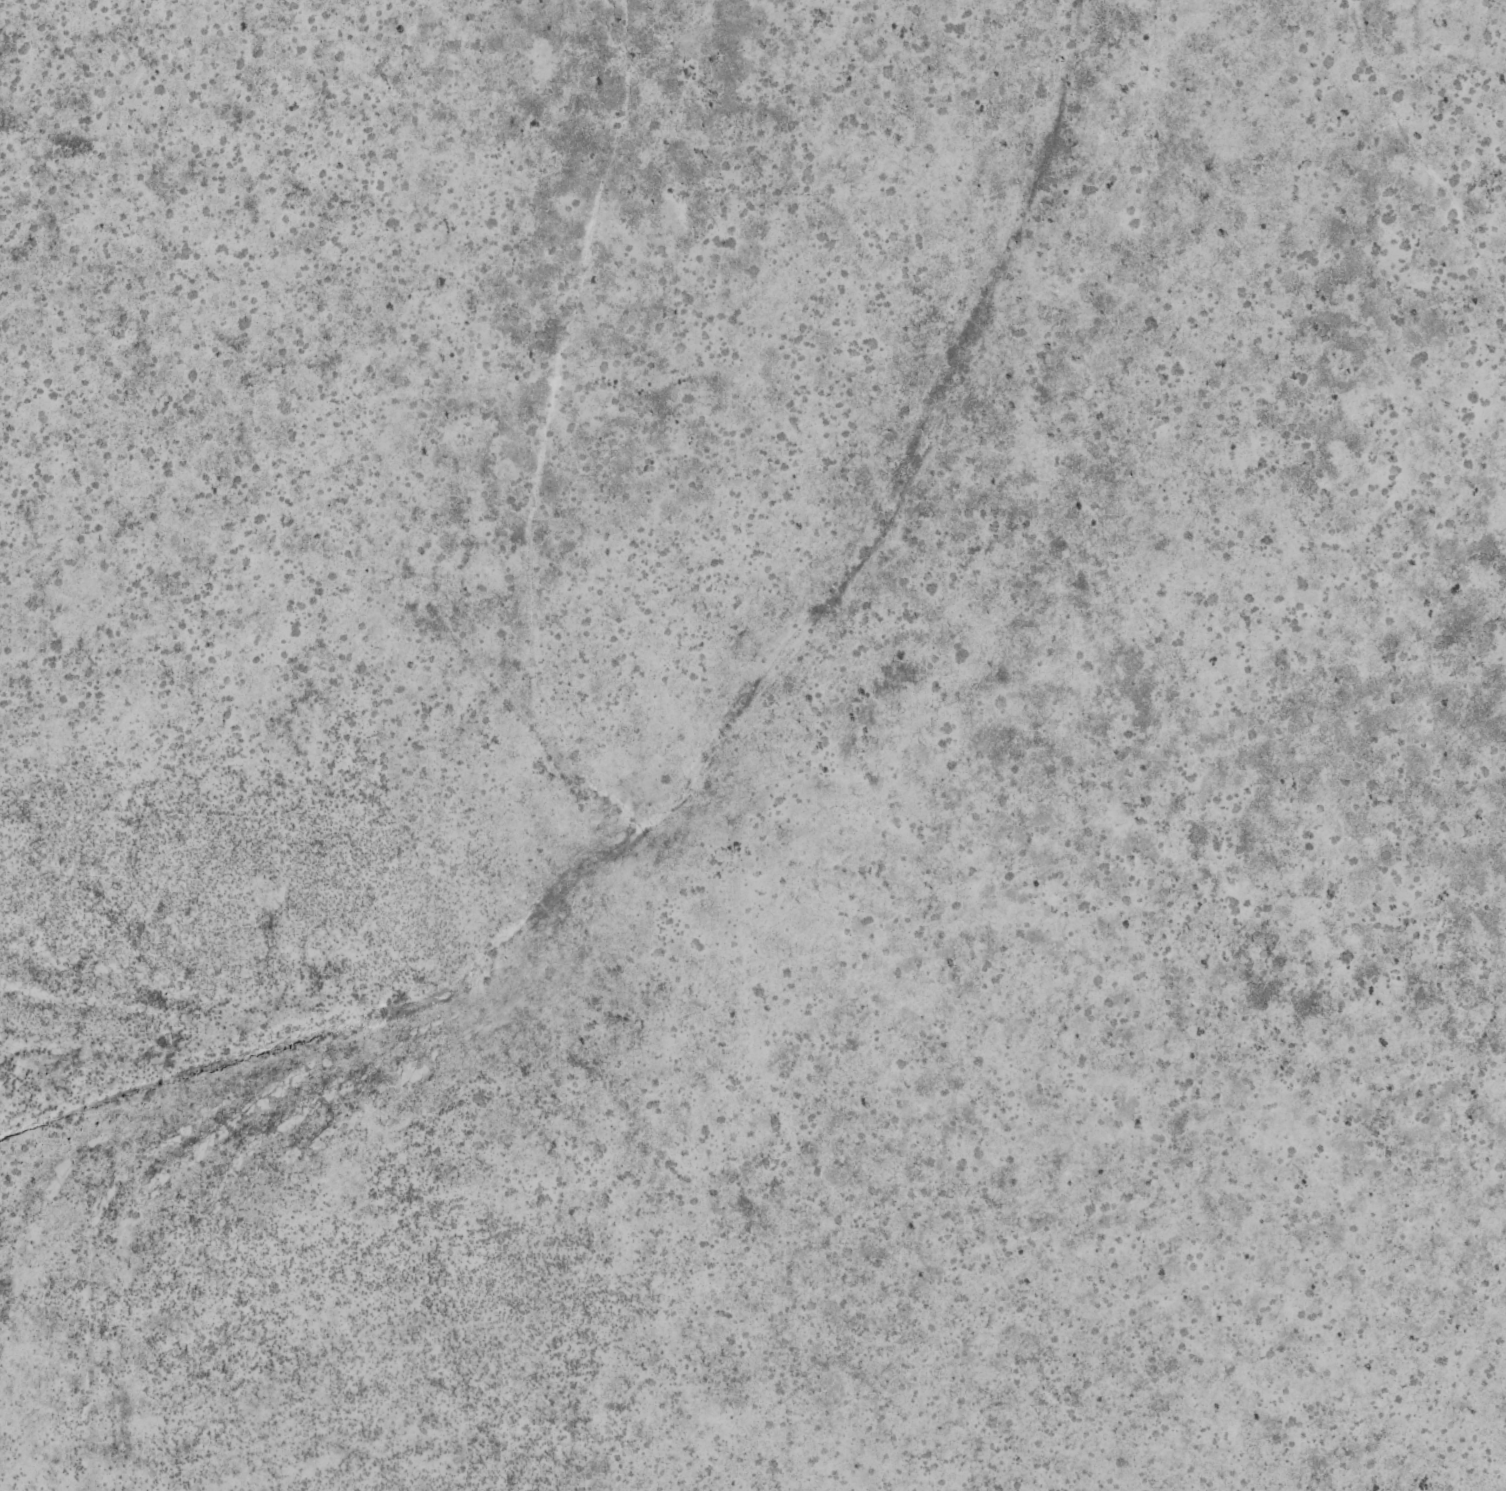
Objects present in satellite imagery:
road: (1423, 161)

